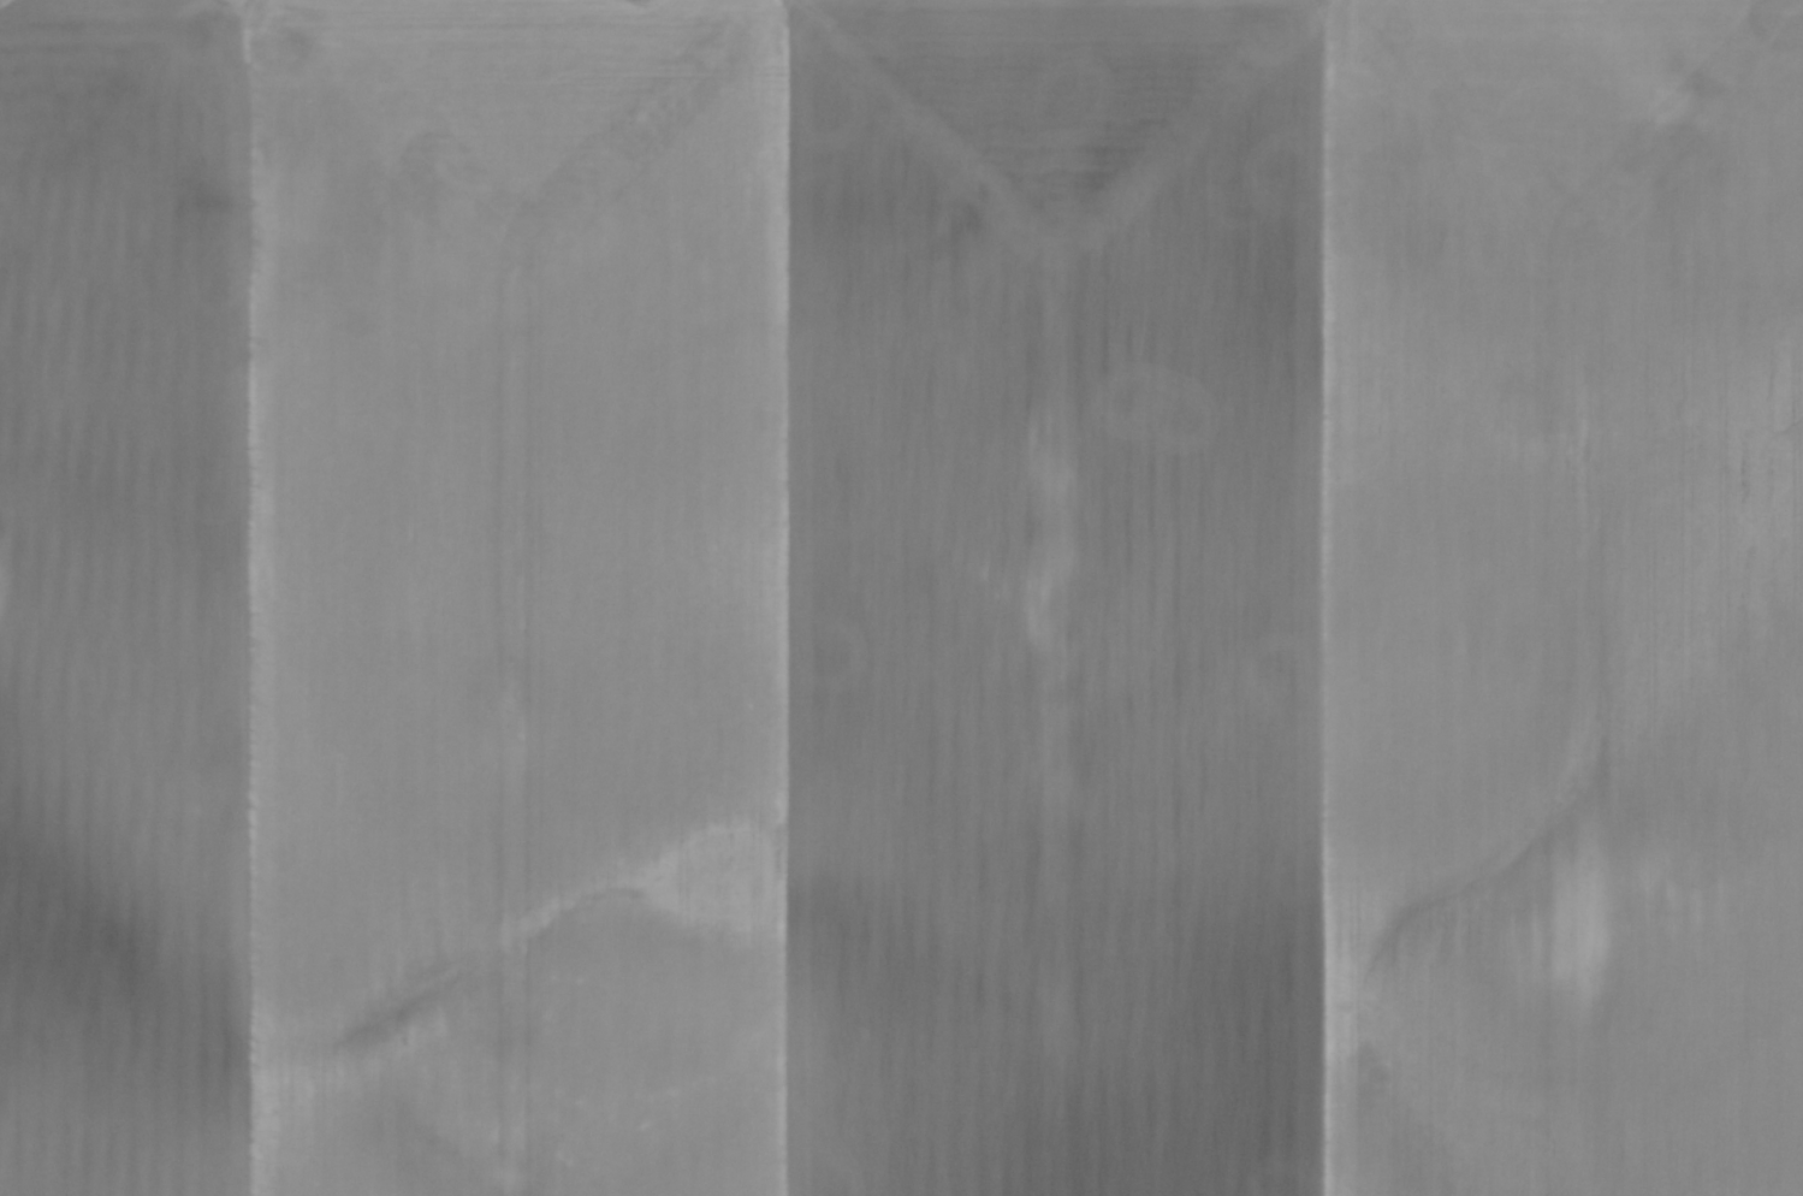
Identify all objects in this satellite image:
crop: (901, 598)

